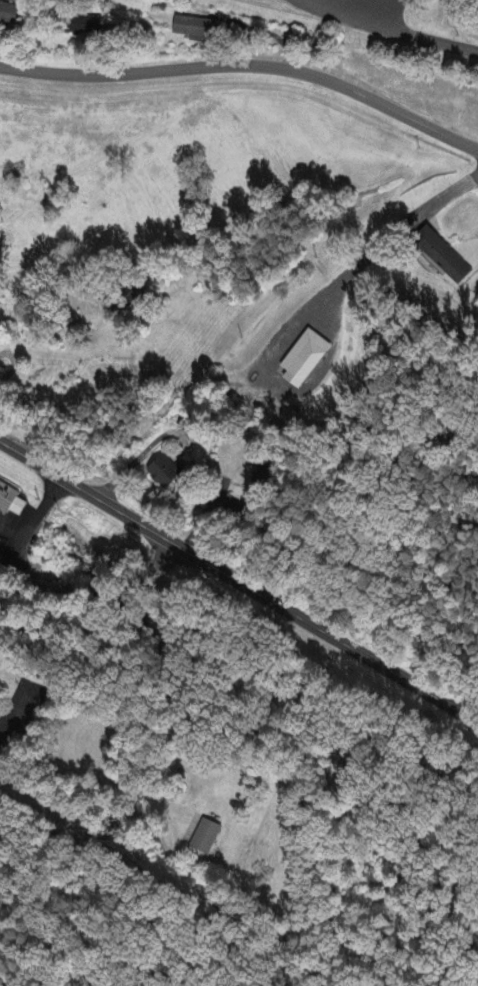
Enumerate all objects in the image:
building: (9, 12)
building: (82, 24)
road: (394, 28)
building: (193, 30)
road: (270, 36)
road: (2, 38)
road: (115, 52)
road: (247, 65)
building: (445, 254)
road: (475, 255)
road: (359, 262)
building: (127, 296)
building: (307, 357)
road: (137, 460)
building: (167, 471)
building: (267, 471)
building: (8, 496)
building: (21, 508)
road: (31, 523)
road: (11, 533)
road: (238, 582)
building: (128, 636)
road: (16, 716)
road: (81, 778)
building: (209, 837)
road: (137, 969)

